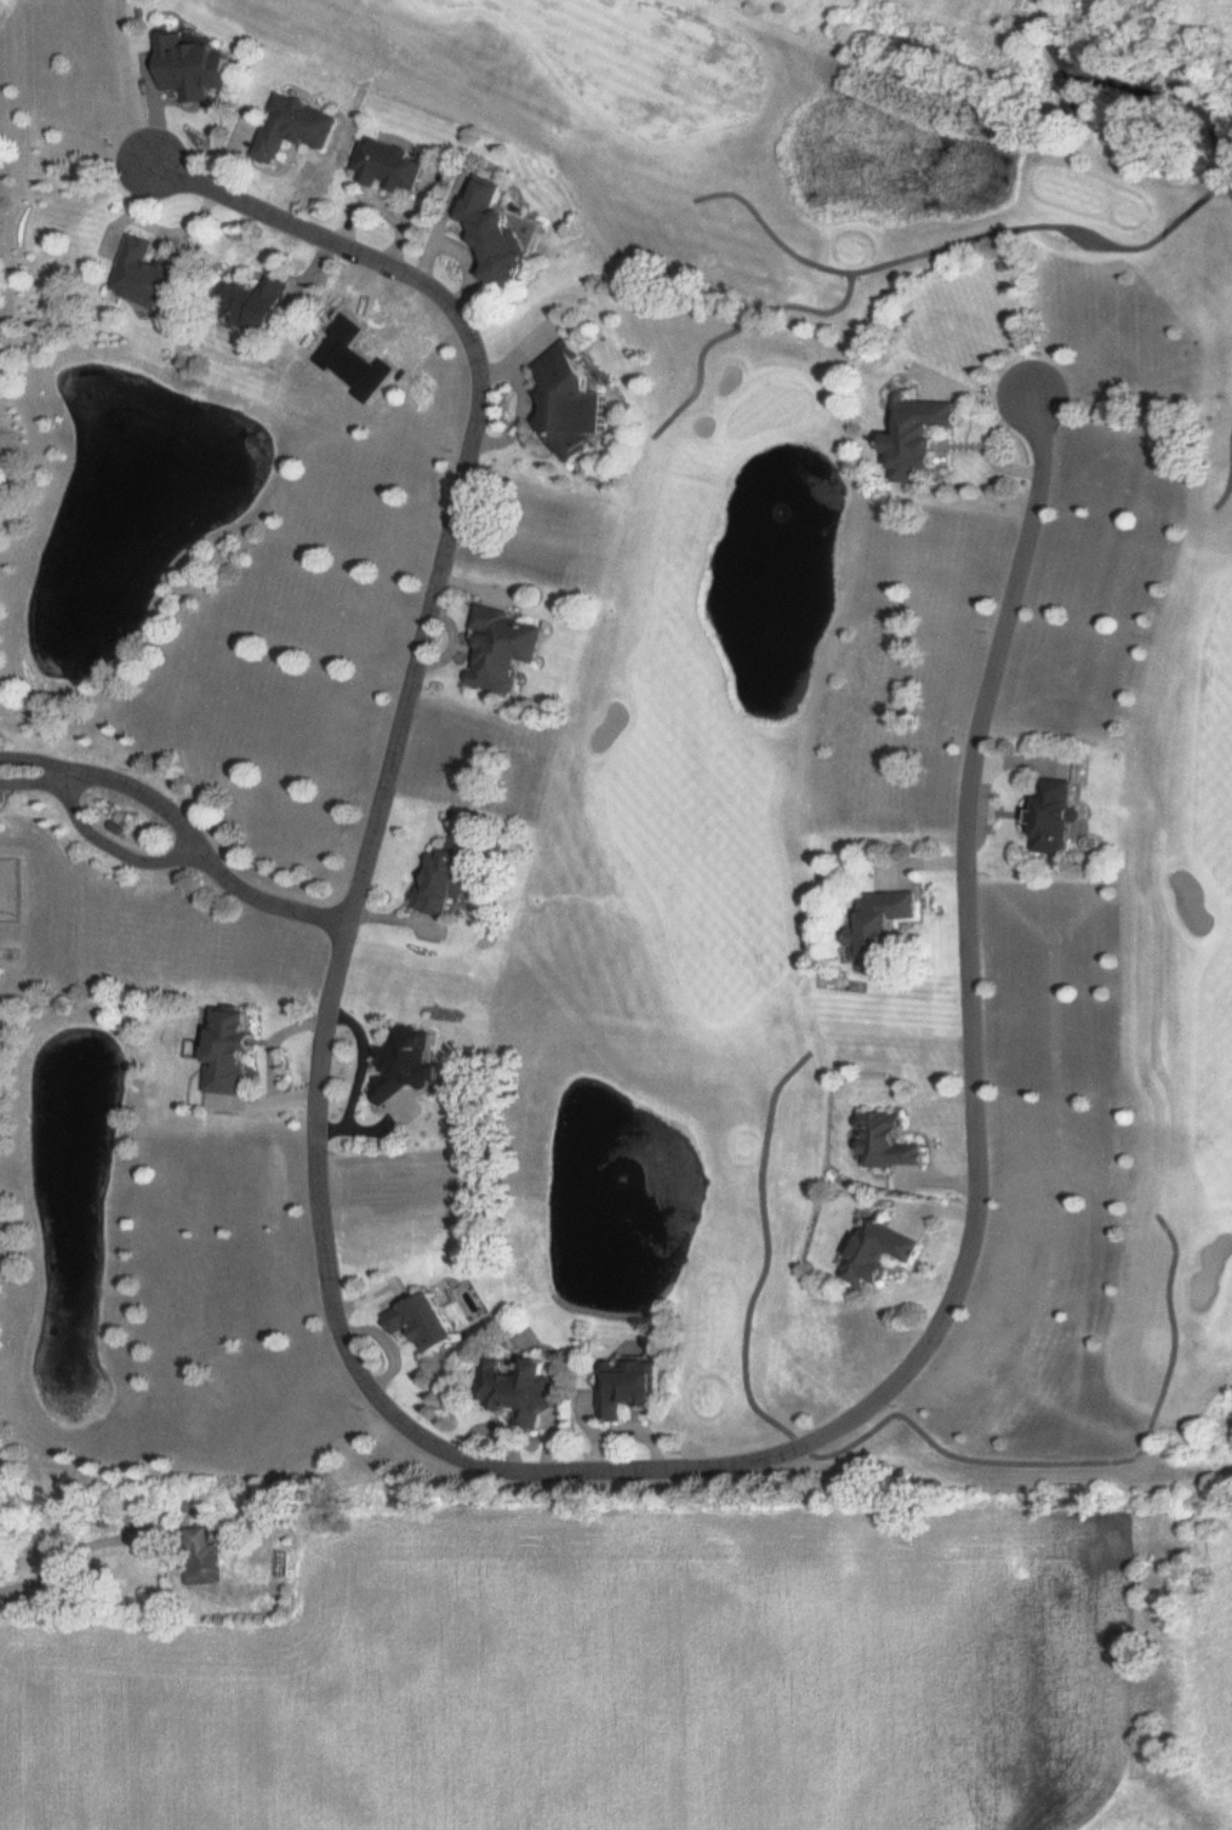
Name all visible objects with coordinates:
building: (196, 70)
building: (1078, 104)
building: (301, 130)
building: (397, 170)
building: (503, 234)
building: (148, 278)
building: (253, 307)
building: (577, 404)
building: (923, 439)
building: (509, 651)
park: (879, 718)
building: (1059, 819)
road: (178, 842)
building: (449, 880)
building: (884, 933)
building: (236, 1054)
building: (413, 1067)
building: (892, 1145)
building: (885, 1256)
building: (427, 1324)
building: (632, 1390)
building: (523, 1392)
road: (417, 1437)
road: (68, 1553)
building: (206, 1557)

